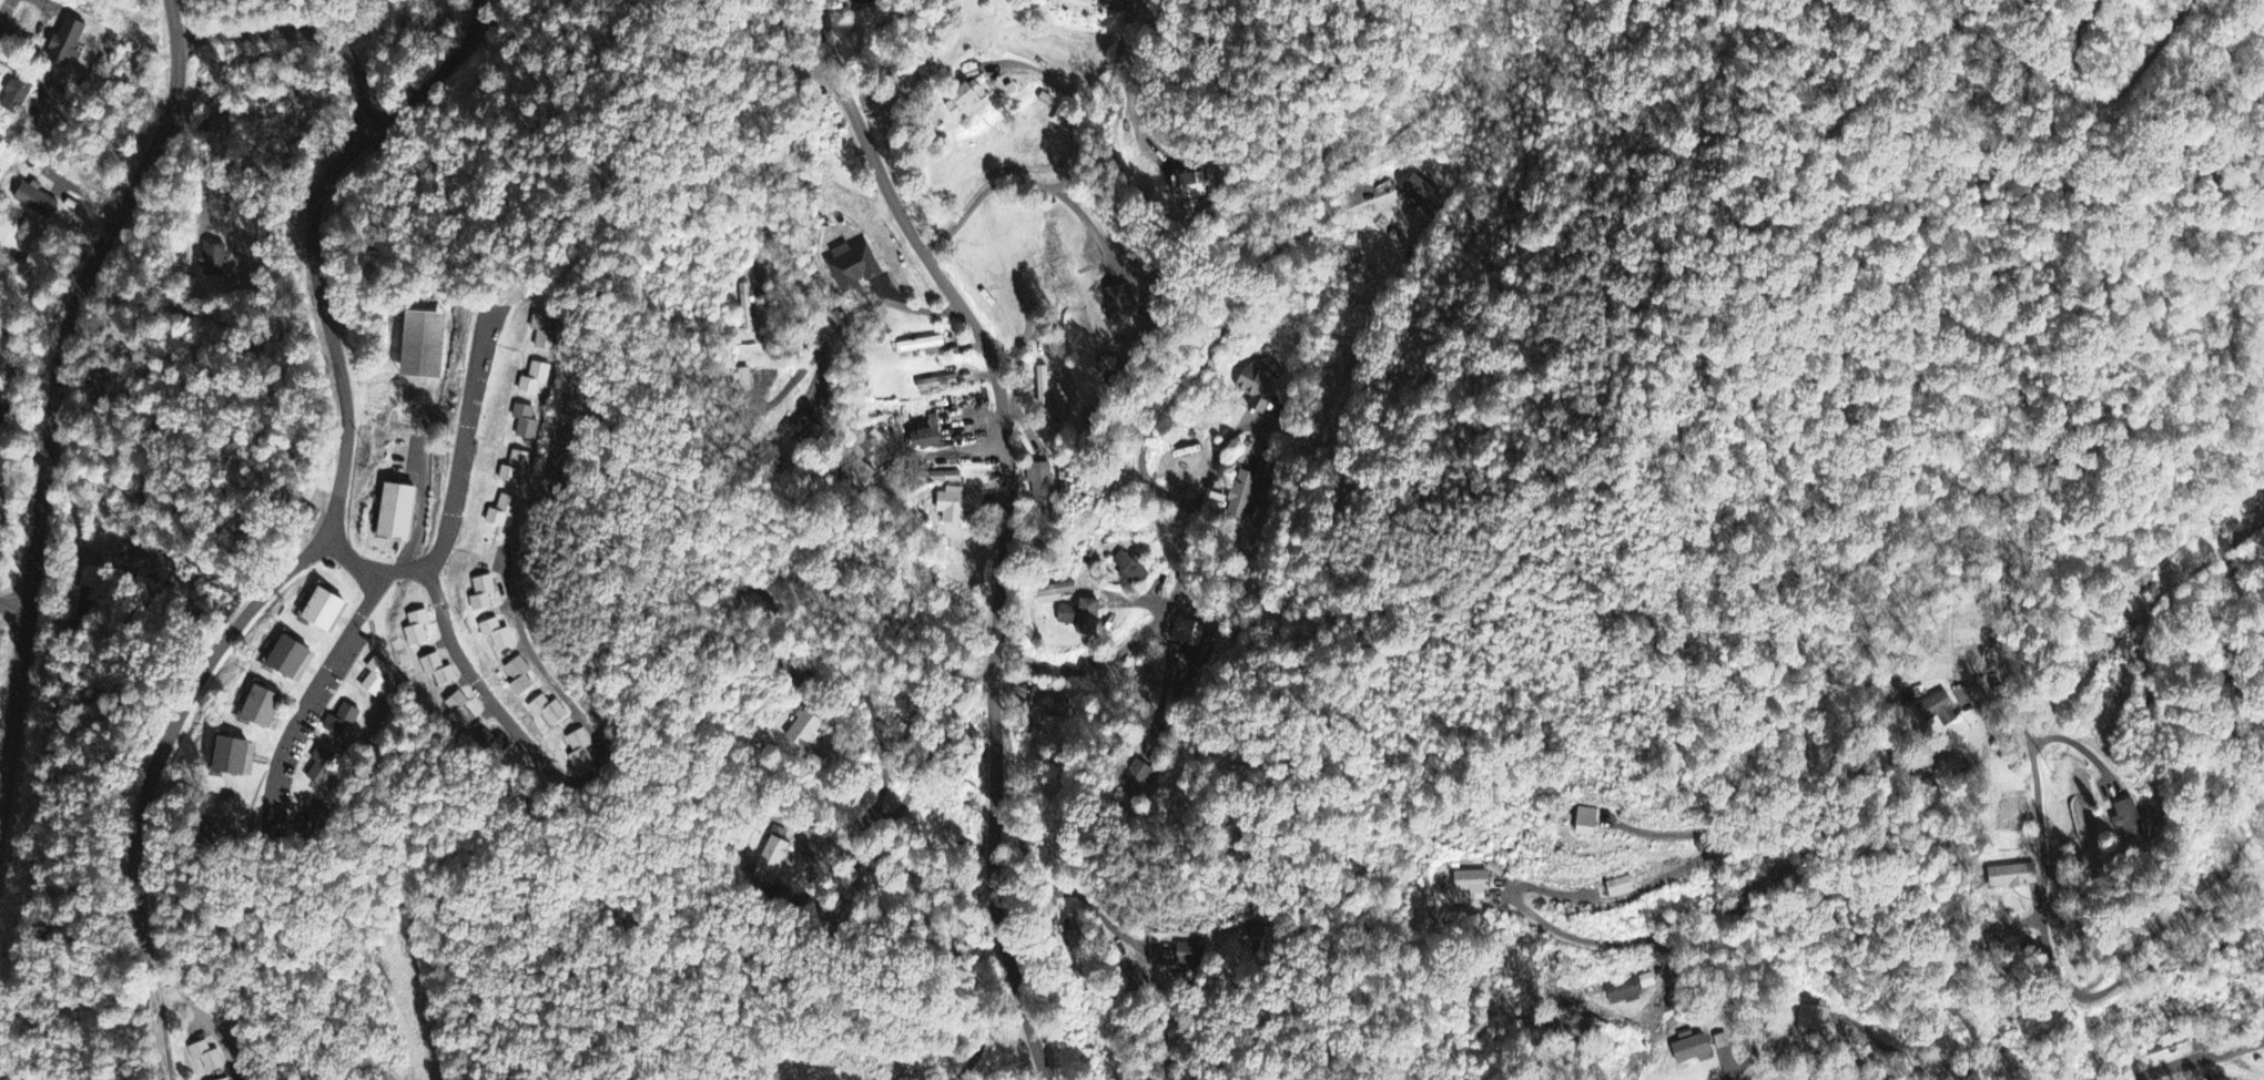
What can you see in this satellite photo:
building: (1105, 0)
building: (861, 2)
building: (1079, 3)
road: (6, 10)
building: (67, 44)
road: (1046, 75)
road: (435, 89)
building: (16, 96)
building: (960, 98)
road: (1070, 172)
building: (1194, 186)
building: (1421, 194)
building: (37, 202)
road: (1082, 222)
building: (213, 261)
building: (853, 268)
road: (863, 305)
building: (1119, 307)
building: (545, 334)
building: (423, 346)
building: (923, 347)
building: (535, 379)
building: (937, 384)
building: (1258, 389)
road: (53, 394)
building: (2, 411)
building: (526, 422)
building: (810, 435)
building: (930, 437)
road: (1141, 460)
building: (515, 468)
building: (1039, 481)
building: (1245, 496)
road: (453, 499)
road: (334, 500)
building: (952, 509)
building: (399, 511)
building: (502, 512)
road: (1003, 521)
building: (1130, 571)
building: (1054, 593)
building: (484, 594)
building: (79, 599)
road: (13, 609)
building: (326, 610)
building: (1083, 618)
building: (418, 630)
building: (1187, 632)
building: (498, 635)
building: (291, 658)
building: (438, 671)
building: (375, 677)
building: (520, 677)
road: (311, 693)
building: (1047, 703)
building: (264, 709)
building: (549, 711)
building: (1942, 711)
building: (460, 712)
building: (343, 721)
building: (803, 731)
building: (495, 743)
building: (580, 750)
building: (234, 756)
building: (323, 767)
building: (1135, 782)
road: (581, 784)
building: (236, 818)
building: (2128, 818)
building: (1587, 824)
building: (314, 827)
building: (1495, 872)
building: (2012, 878)
building: (1472, 883)
building: (1621, 887)
road: (1065, 890)
road: (1677, 943)
building: (1188, 957)
road: (2058, 979)
building: (1630, 990)
road: (209, 1013)
building: (1693, 1051)
building: (207, 1058)
road: (2200, 1059)

